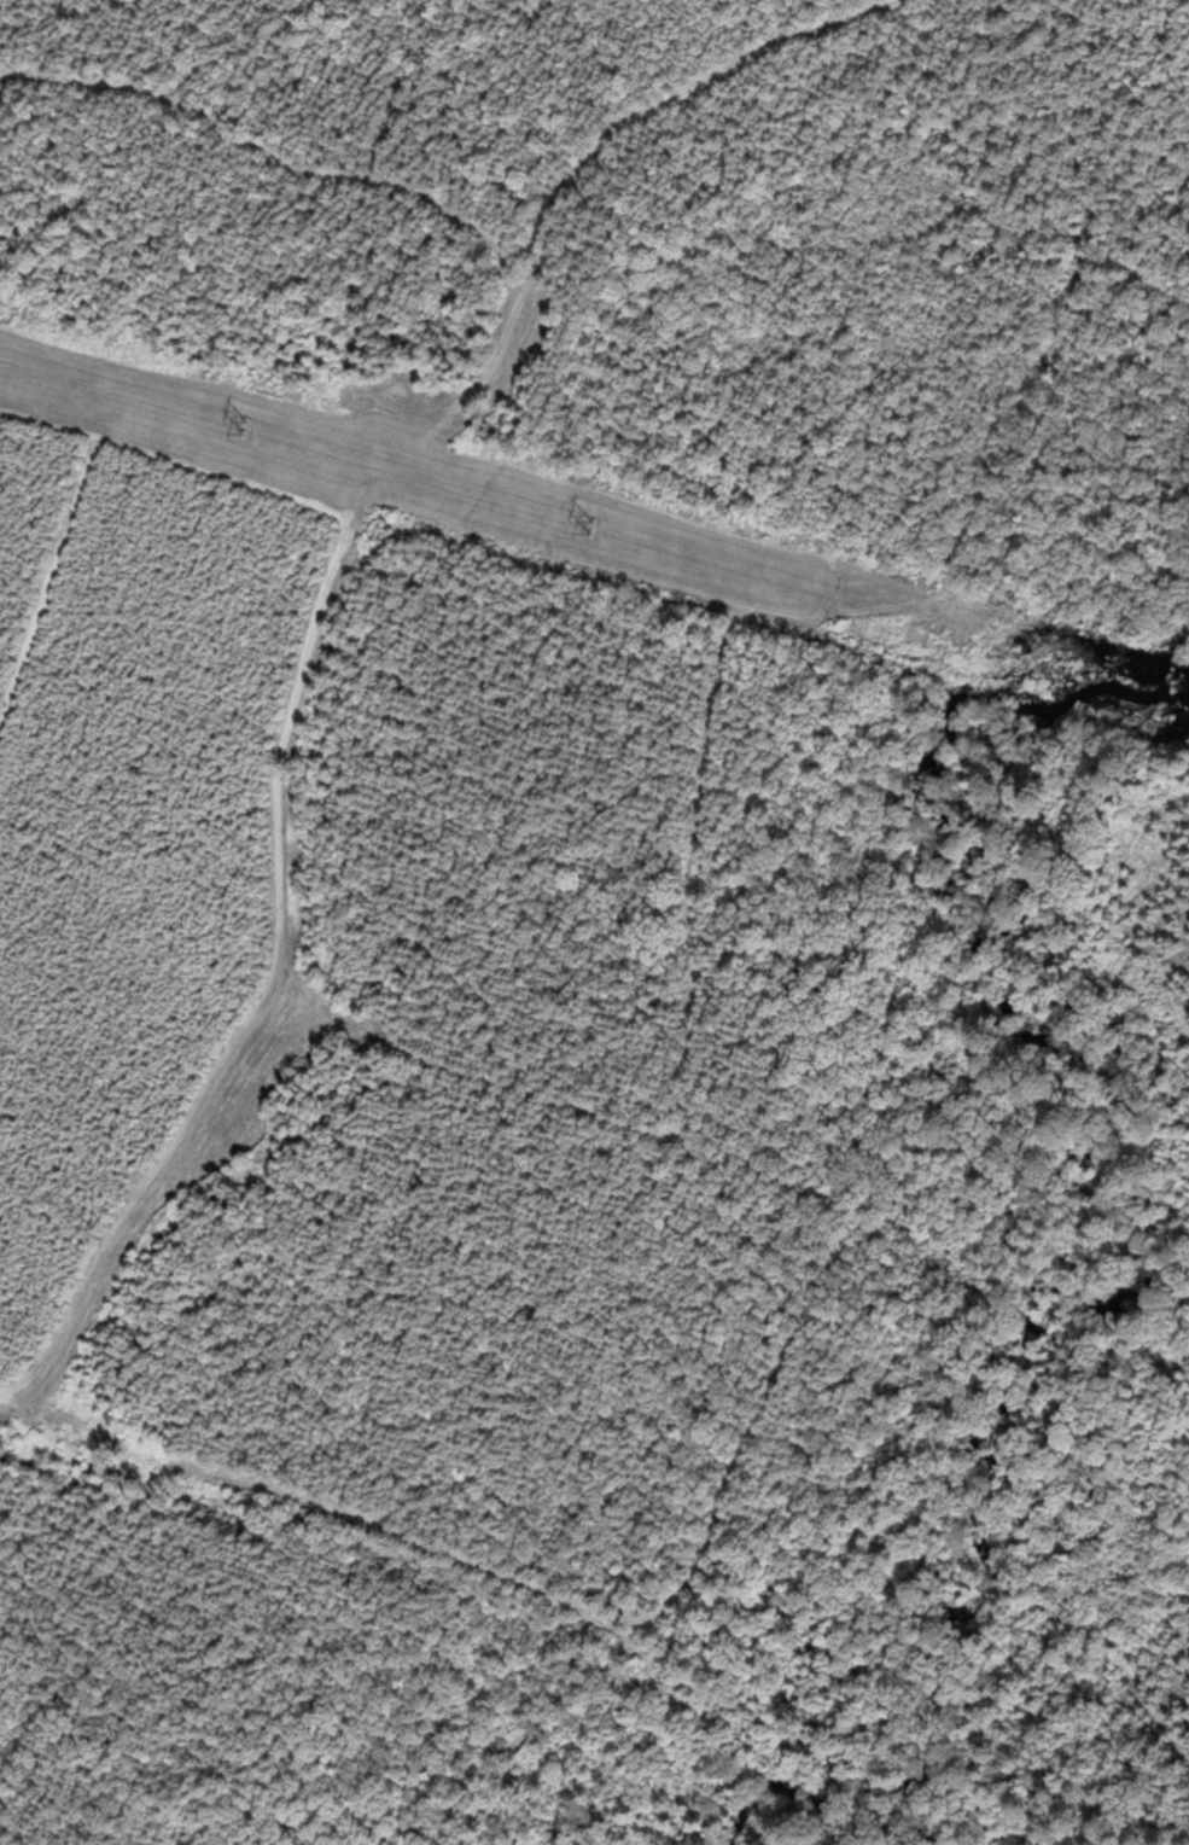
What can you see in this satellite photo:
power tower: (247, 425)
power tower: (591, 524)

